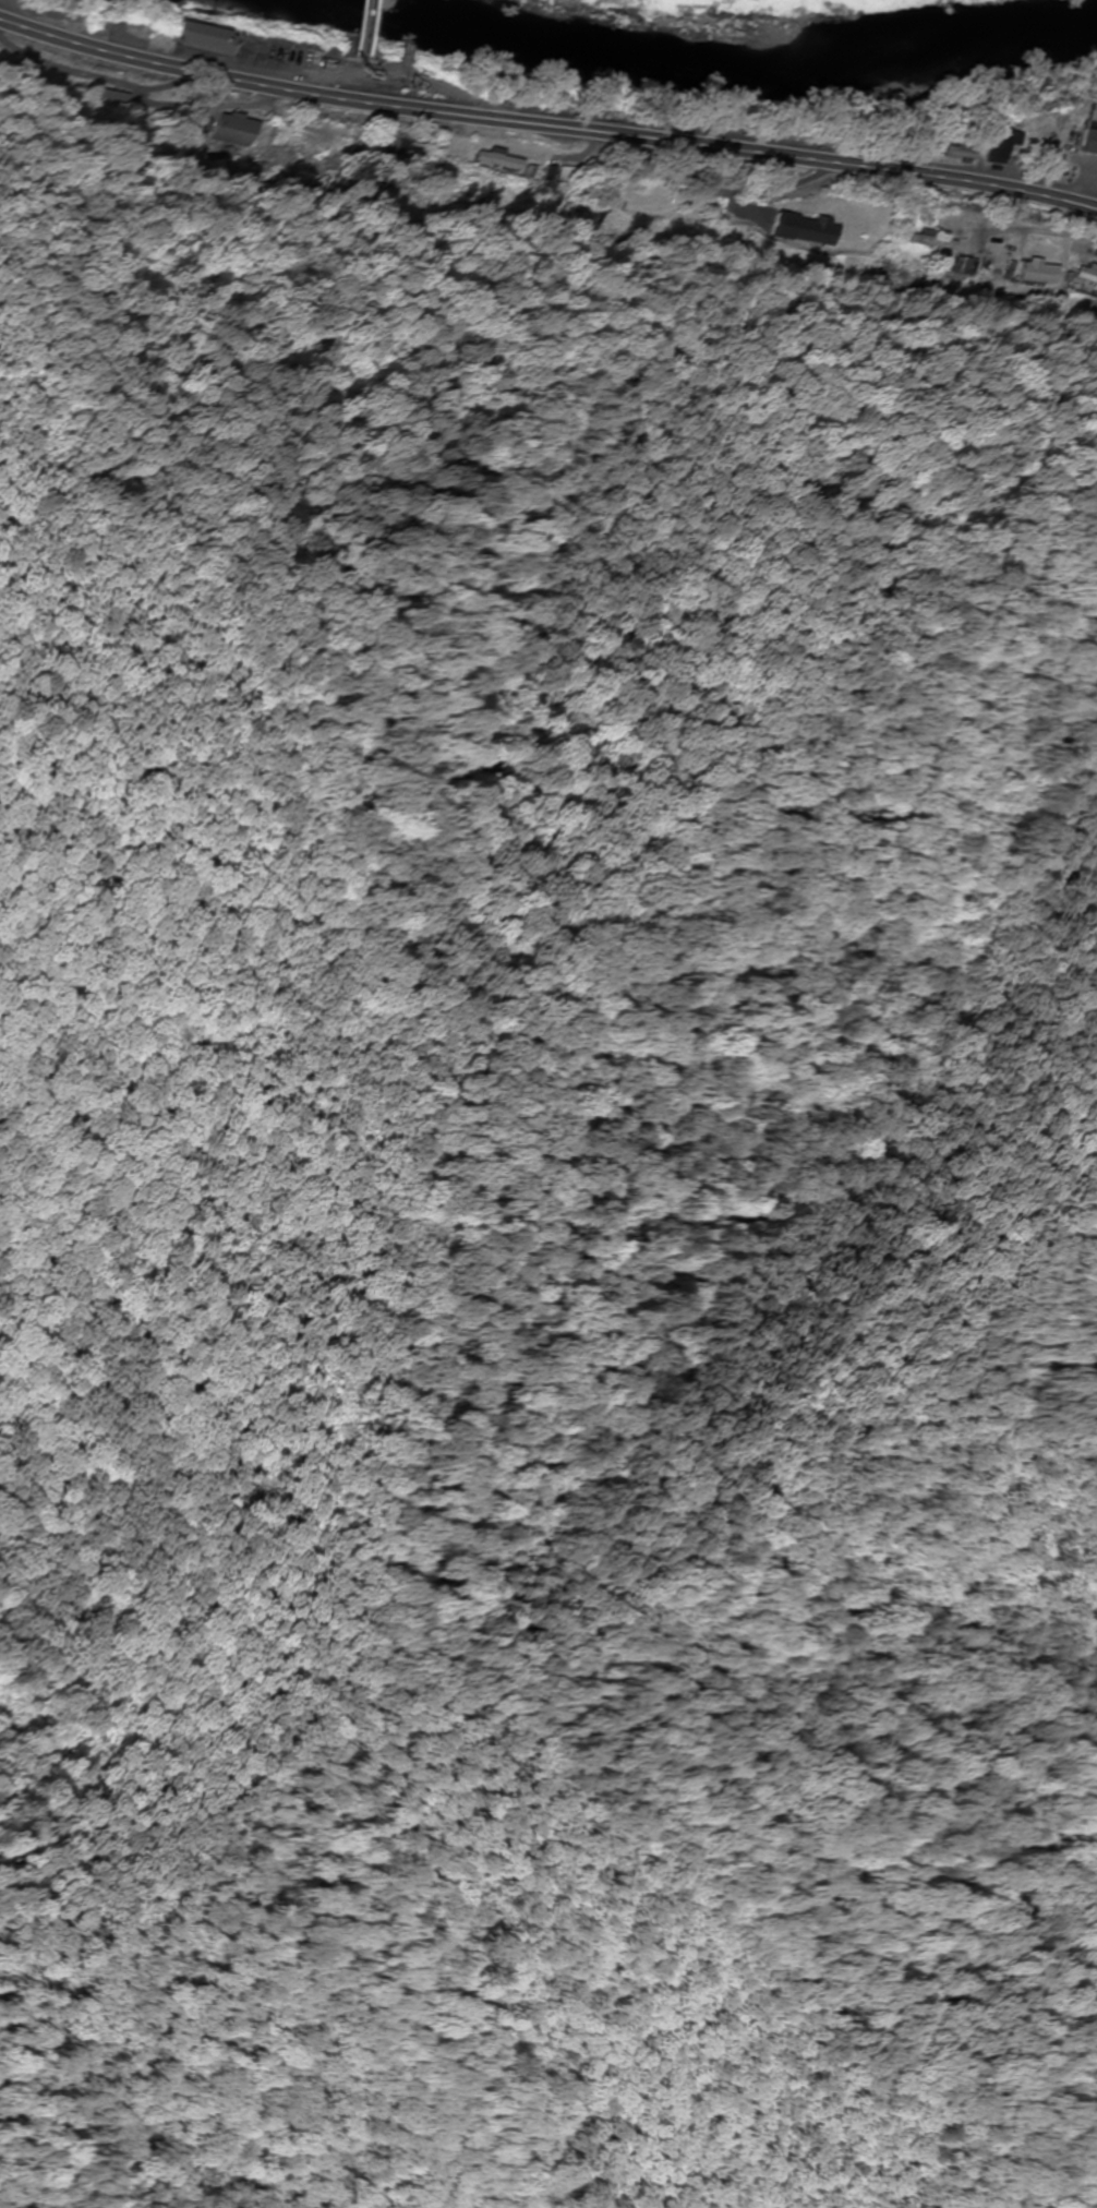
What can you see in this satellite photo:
road: (405, 39)
building: (195, 40)
river: (673, 60)
road: (391, 79)
road: (545, 124)
building: (1087, 139)
building: (999, 148)
road: (1094, 185)
building: (807, 231)
building: (1045, 274)
building: (1090, 274)
road: (650, 1649)
road: (414, 1876)
road: (659, 1908)
road: (322, 2048)
road: (120, 2113)
road: (105, 2194)

